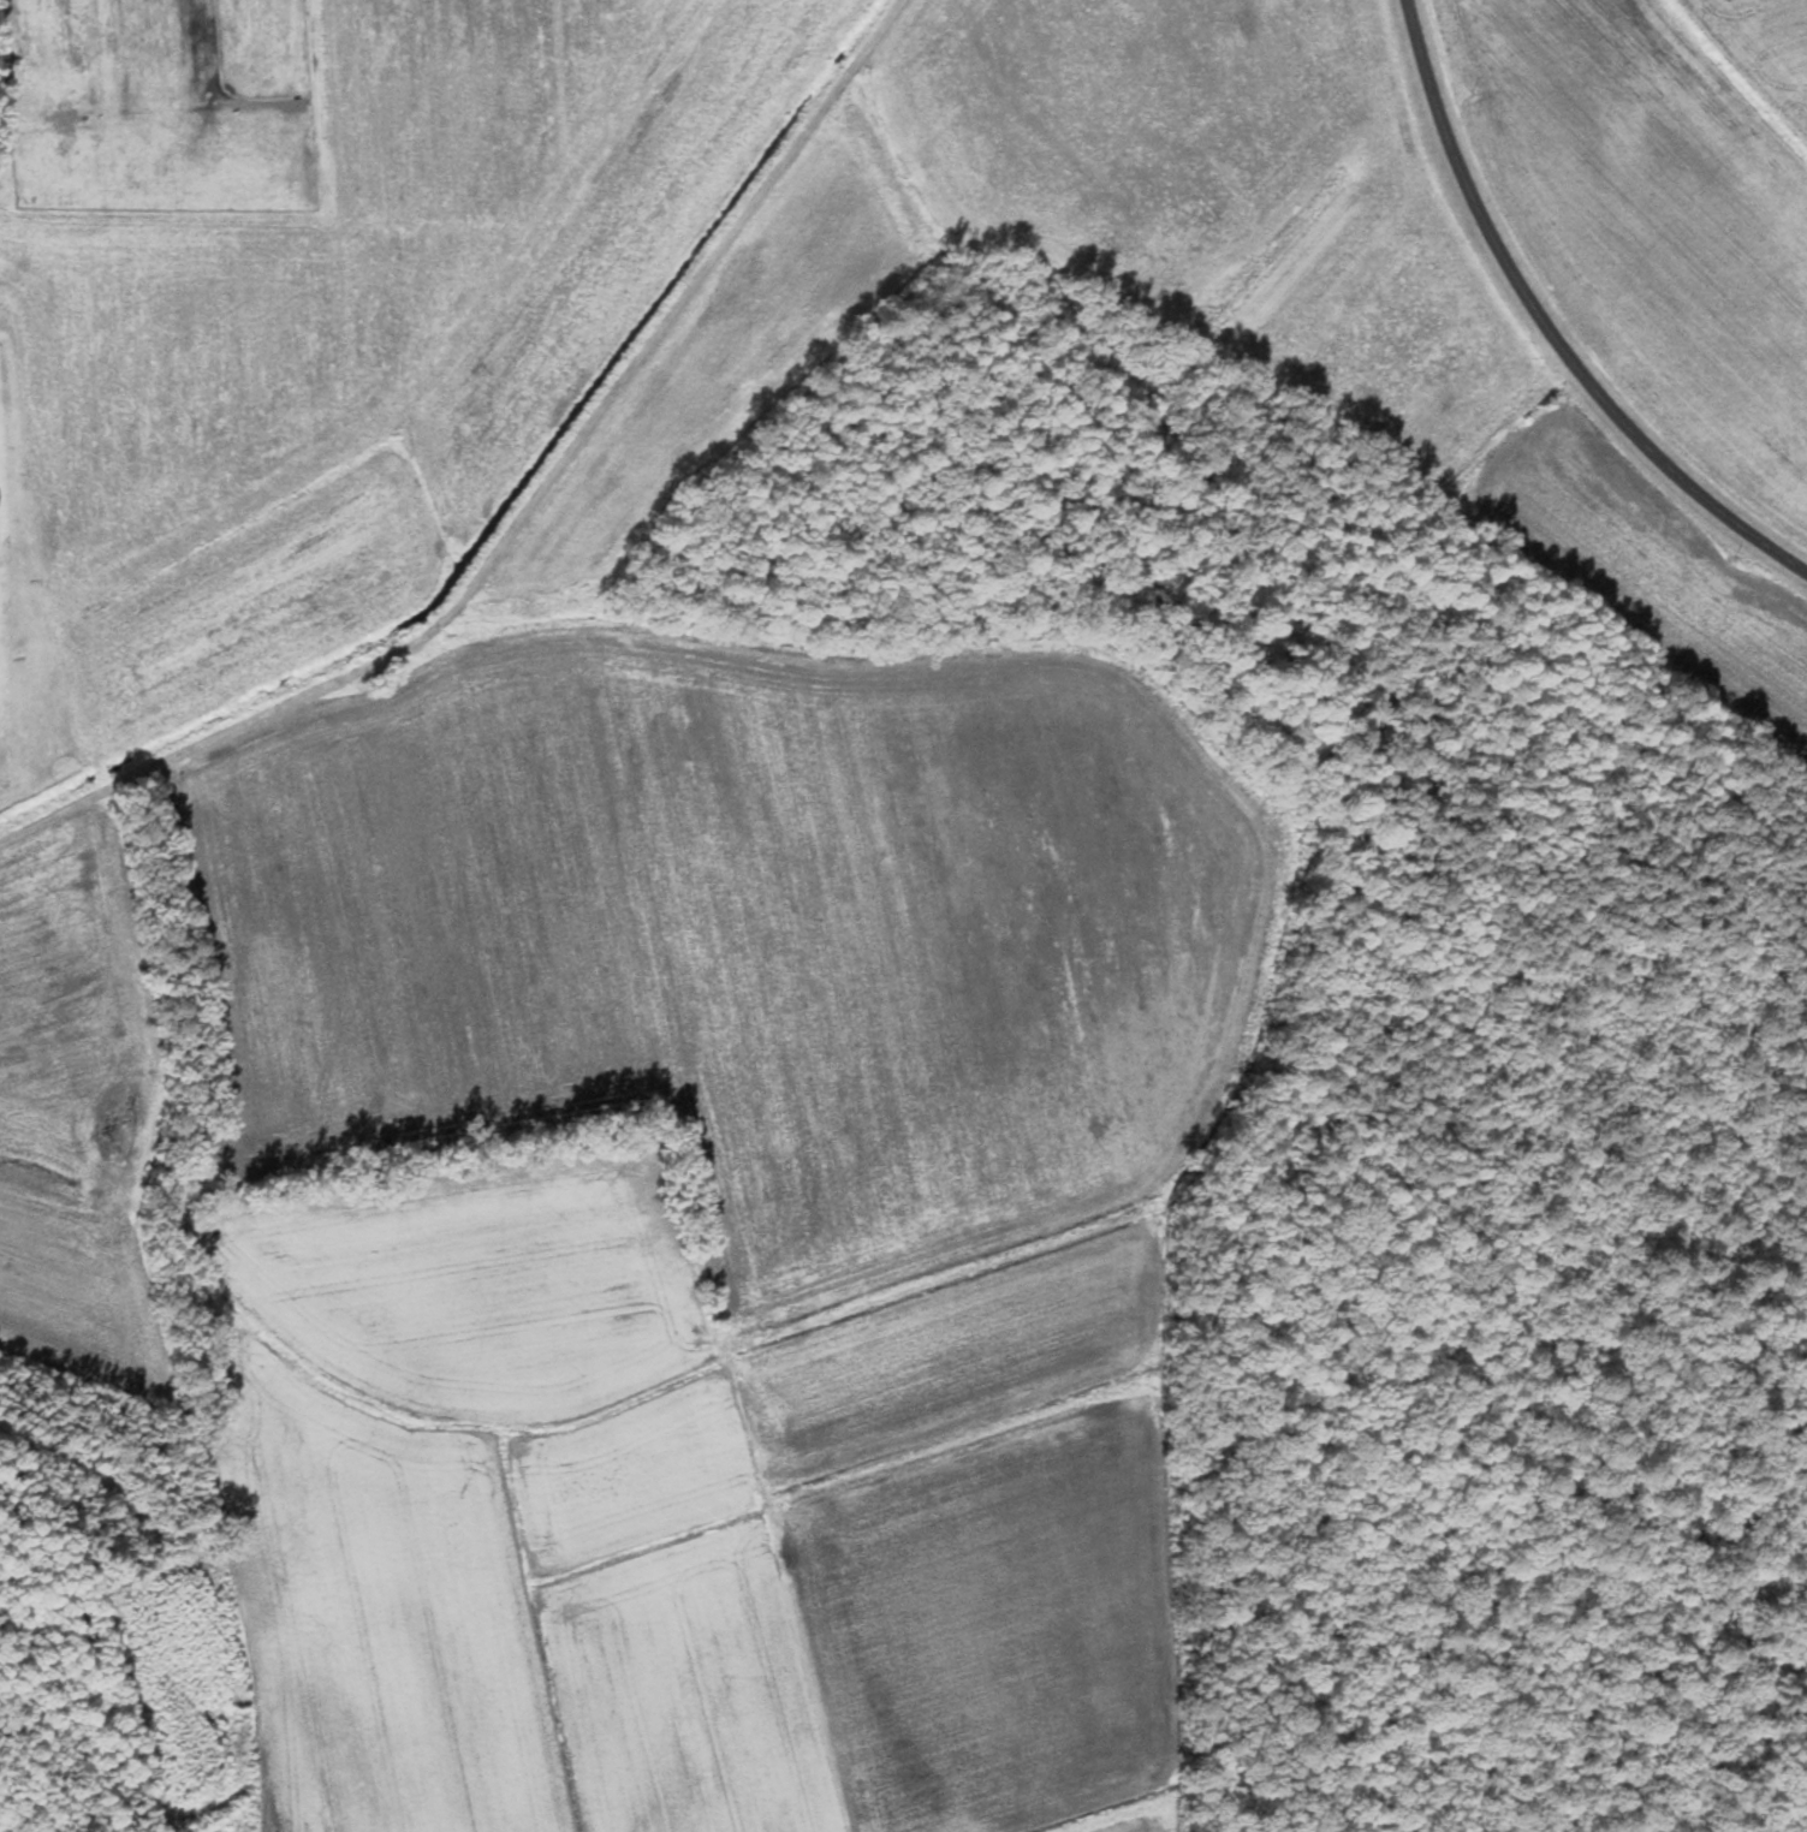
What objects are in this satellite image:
road: (1543, 334)

